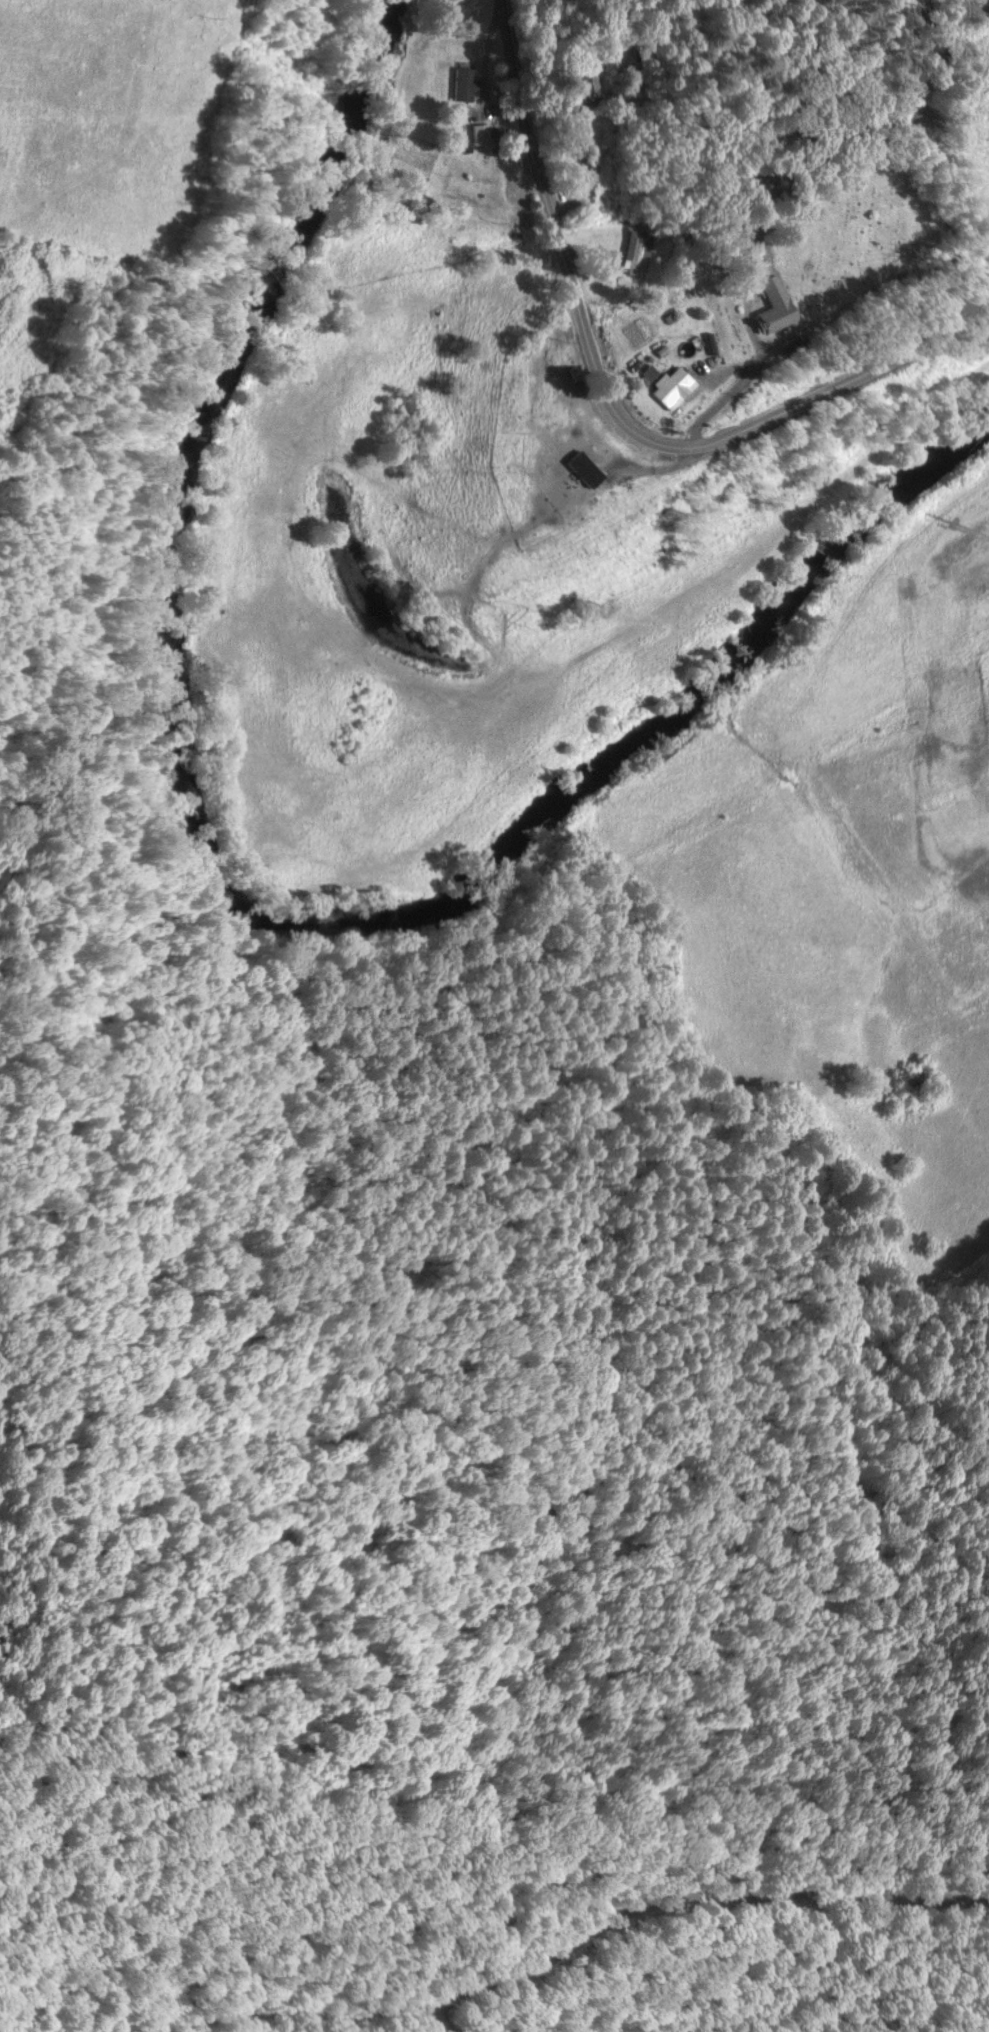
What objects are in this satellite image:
building: (578, 76)
building: (458, 84)
building: (475, 133)
road: (579, 174)
park: (805, 245)
road: (586, 247)
building: (634, 256)
building: (767, 307)
road: (714, 371)
building: (659, 378)
road: (721, 395)
road: (611, 405)
building: (583, 456)
road: (659, 467)
building: (582, 494)
river: (223, 899)

